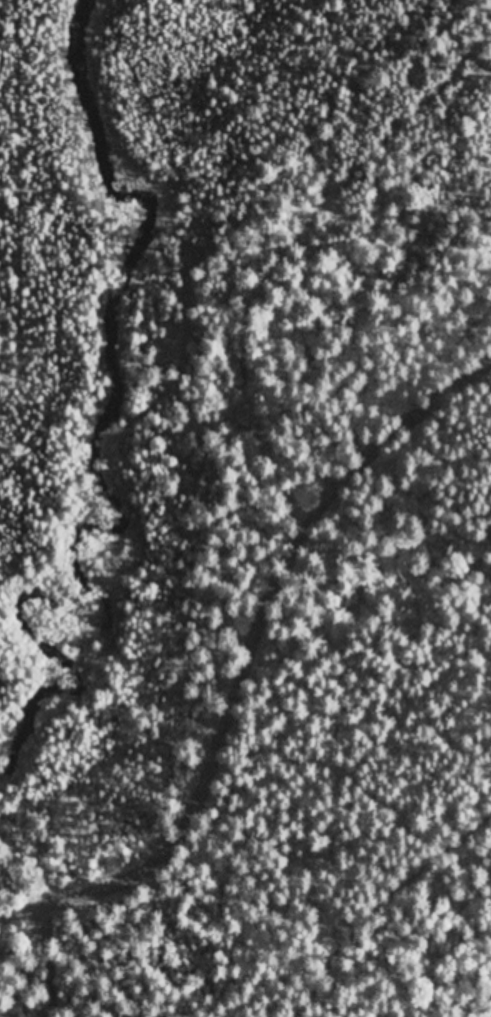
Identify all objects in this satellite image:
road: (247, 655)

